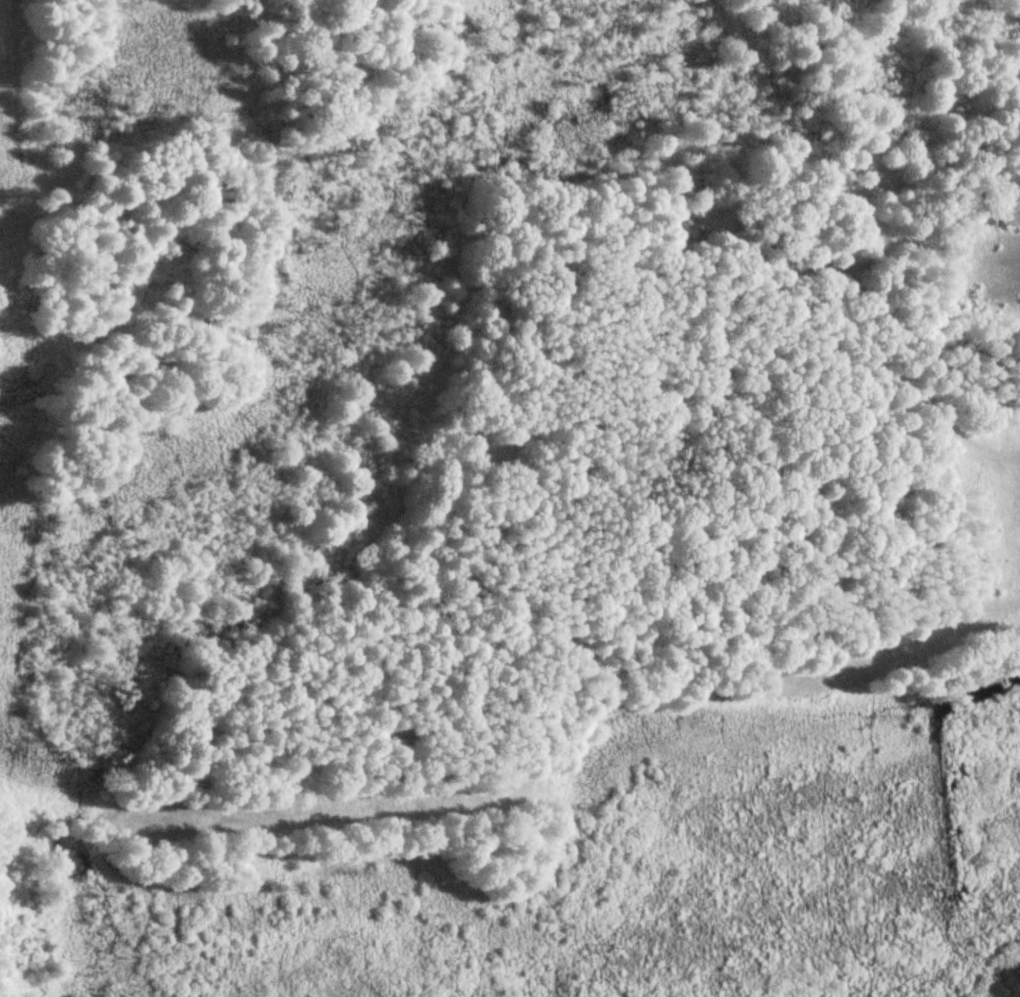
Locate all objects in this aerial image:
road: (798, 409)

